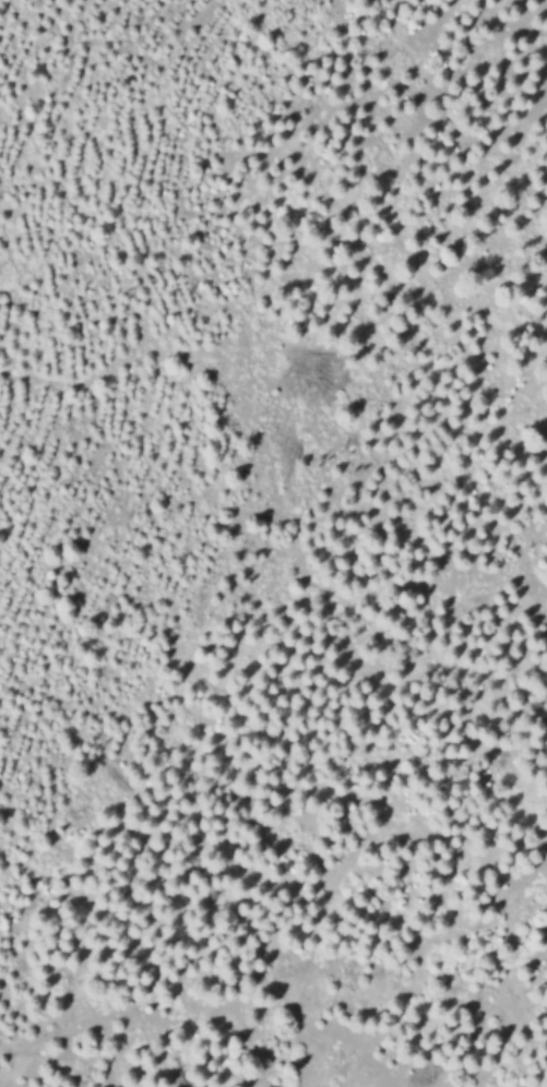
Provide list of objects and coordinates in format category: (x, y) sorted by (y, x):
road: (73, 379)

